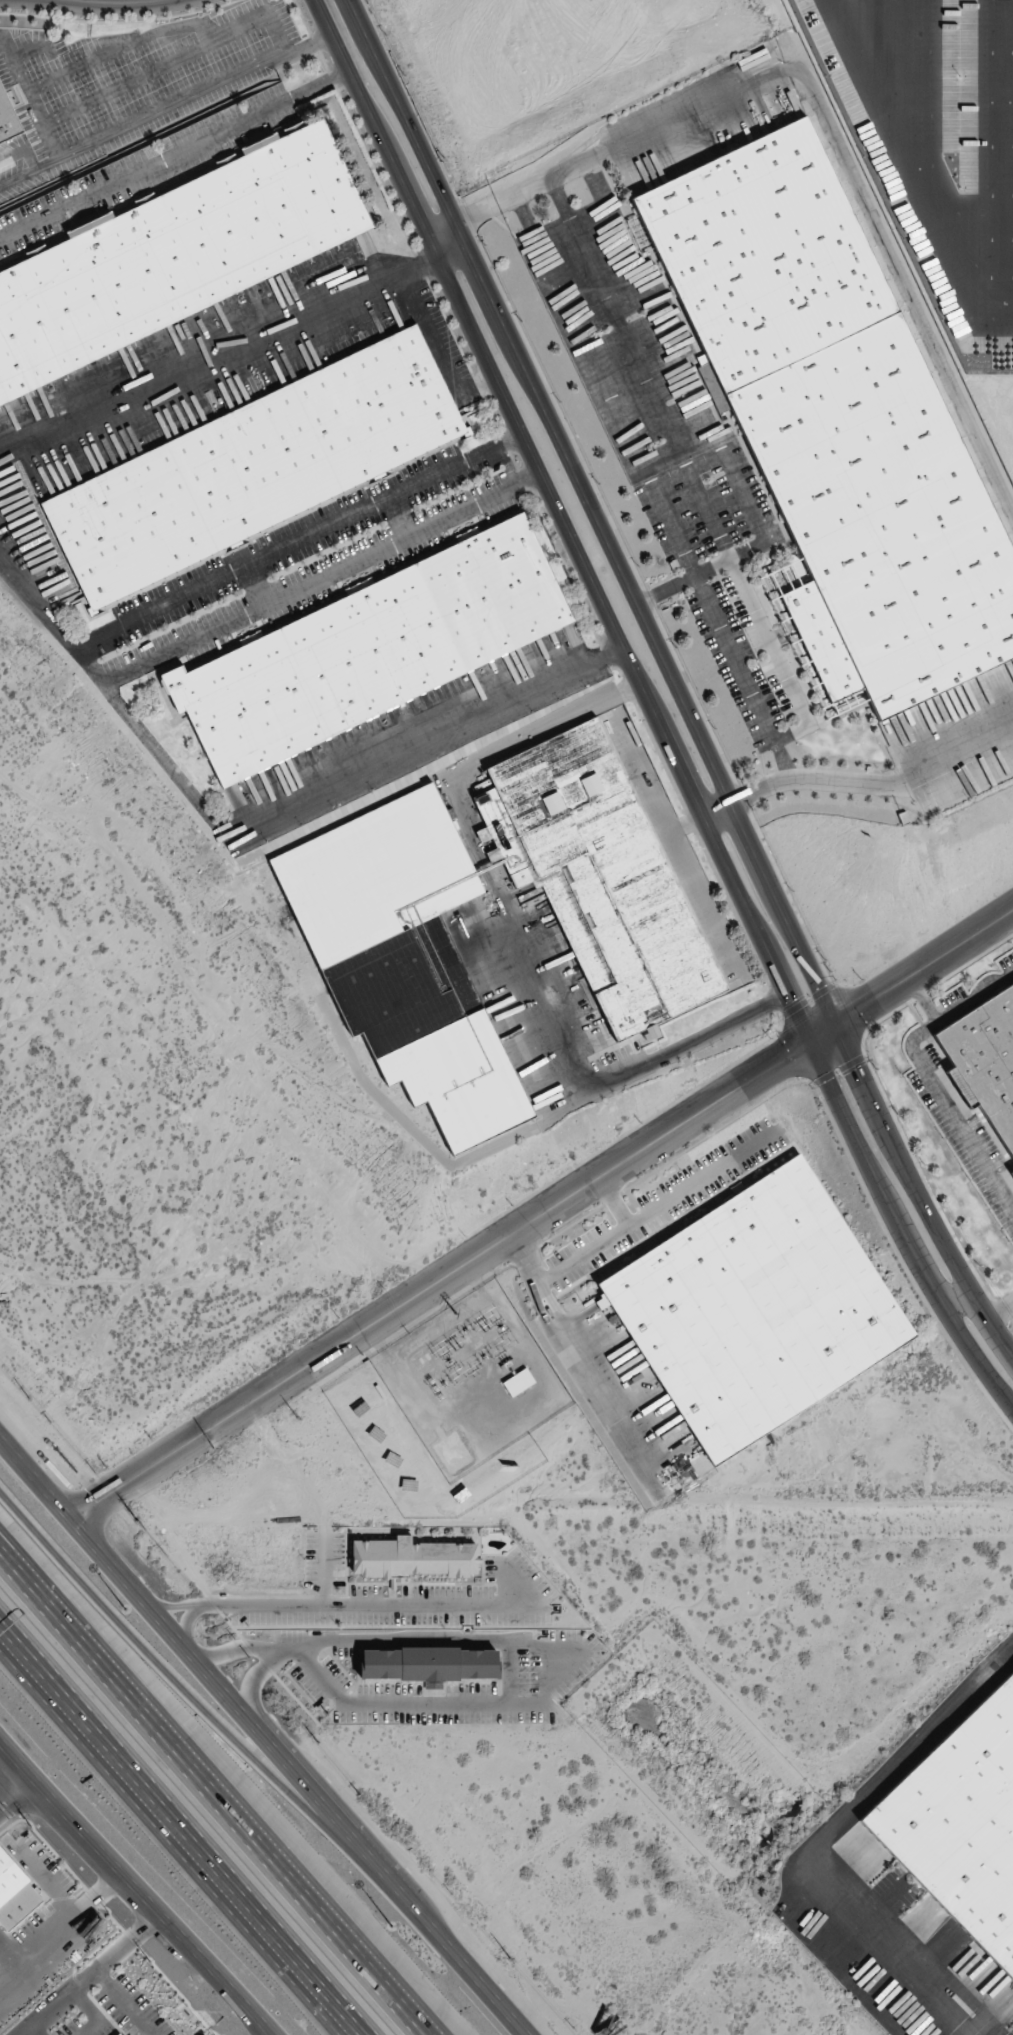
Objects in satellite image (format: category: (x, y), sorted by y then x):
road: (115, 3)
building: (8, 119)
road: (175, 151)
road: (447, 238)
building: (172, 254)
road: (421, 264)
road: (275, 331)
building: (838, 414)
building: (253, 467)
building: (368, 649)
road: (92, 663)
road: (674, 681)
road: (653, 707)
road: (335, 784)
building: (600, 877)
road: (513, 935)
building: (404, 960)
road: (975, 997)
traffic signals: (792, 999)
traffic signals: (864, 1007)
building: (986, 1057)
traffic signals: (784, 1063)
traffic signals: (858, 1069)
road: (940, 1090)
building: (1012, 1172)
road: (616, 1201)
road: (542, 1215)
road: (631, 1223)
road: (958, 1298)
building: (757, 1309)
building: (518, 1382)
power substation: (450, 1405)
building: (413, 1558)
road: (57, 1612)
road: (248, 1622)
road: (441, 1624)
road: (275, 1649)
building: (429, 1664)
road: (213, 1676)
road: (205, 1709)
road: (16, 1795)
road: (211, 1795)
road: (160, 1799)
building: (960, 1824)
road: (822, 1833)
road: (136, 1890)
building: (15, 1893)
road: (103, 1970)
road: (480, 1974)
road: (340, 2008)
road: (345, 2008)

